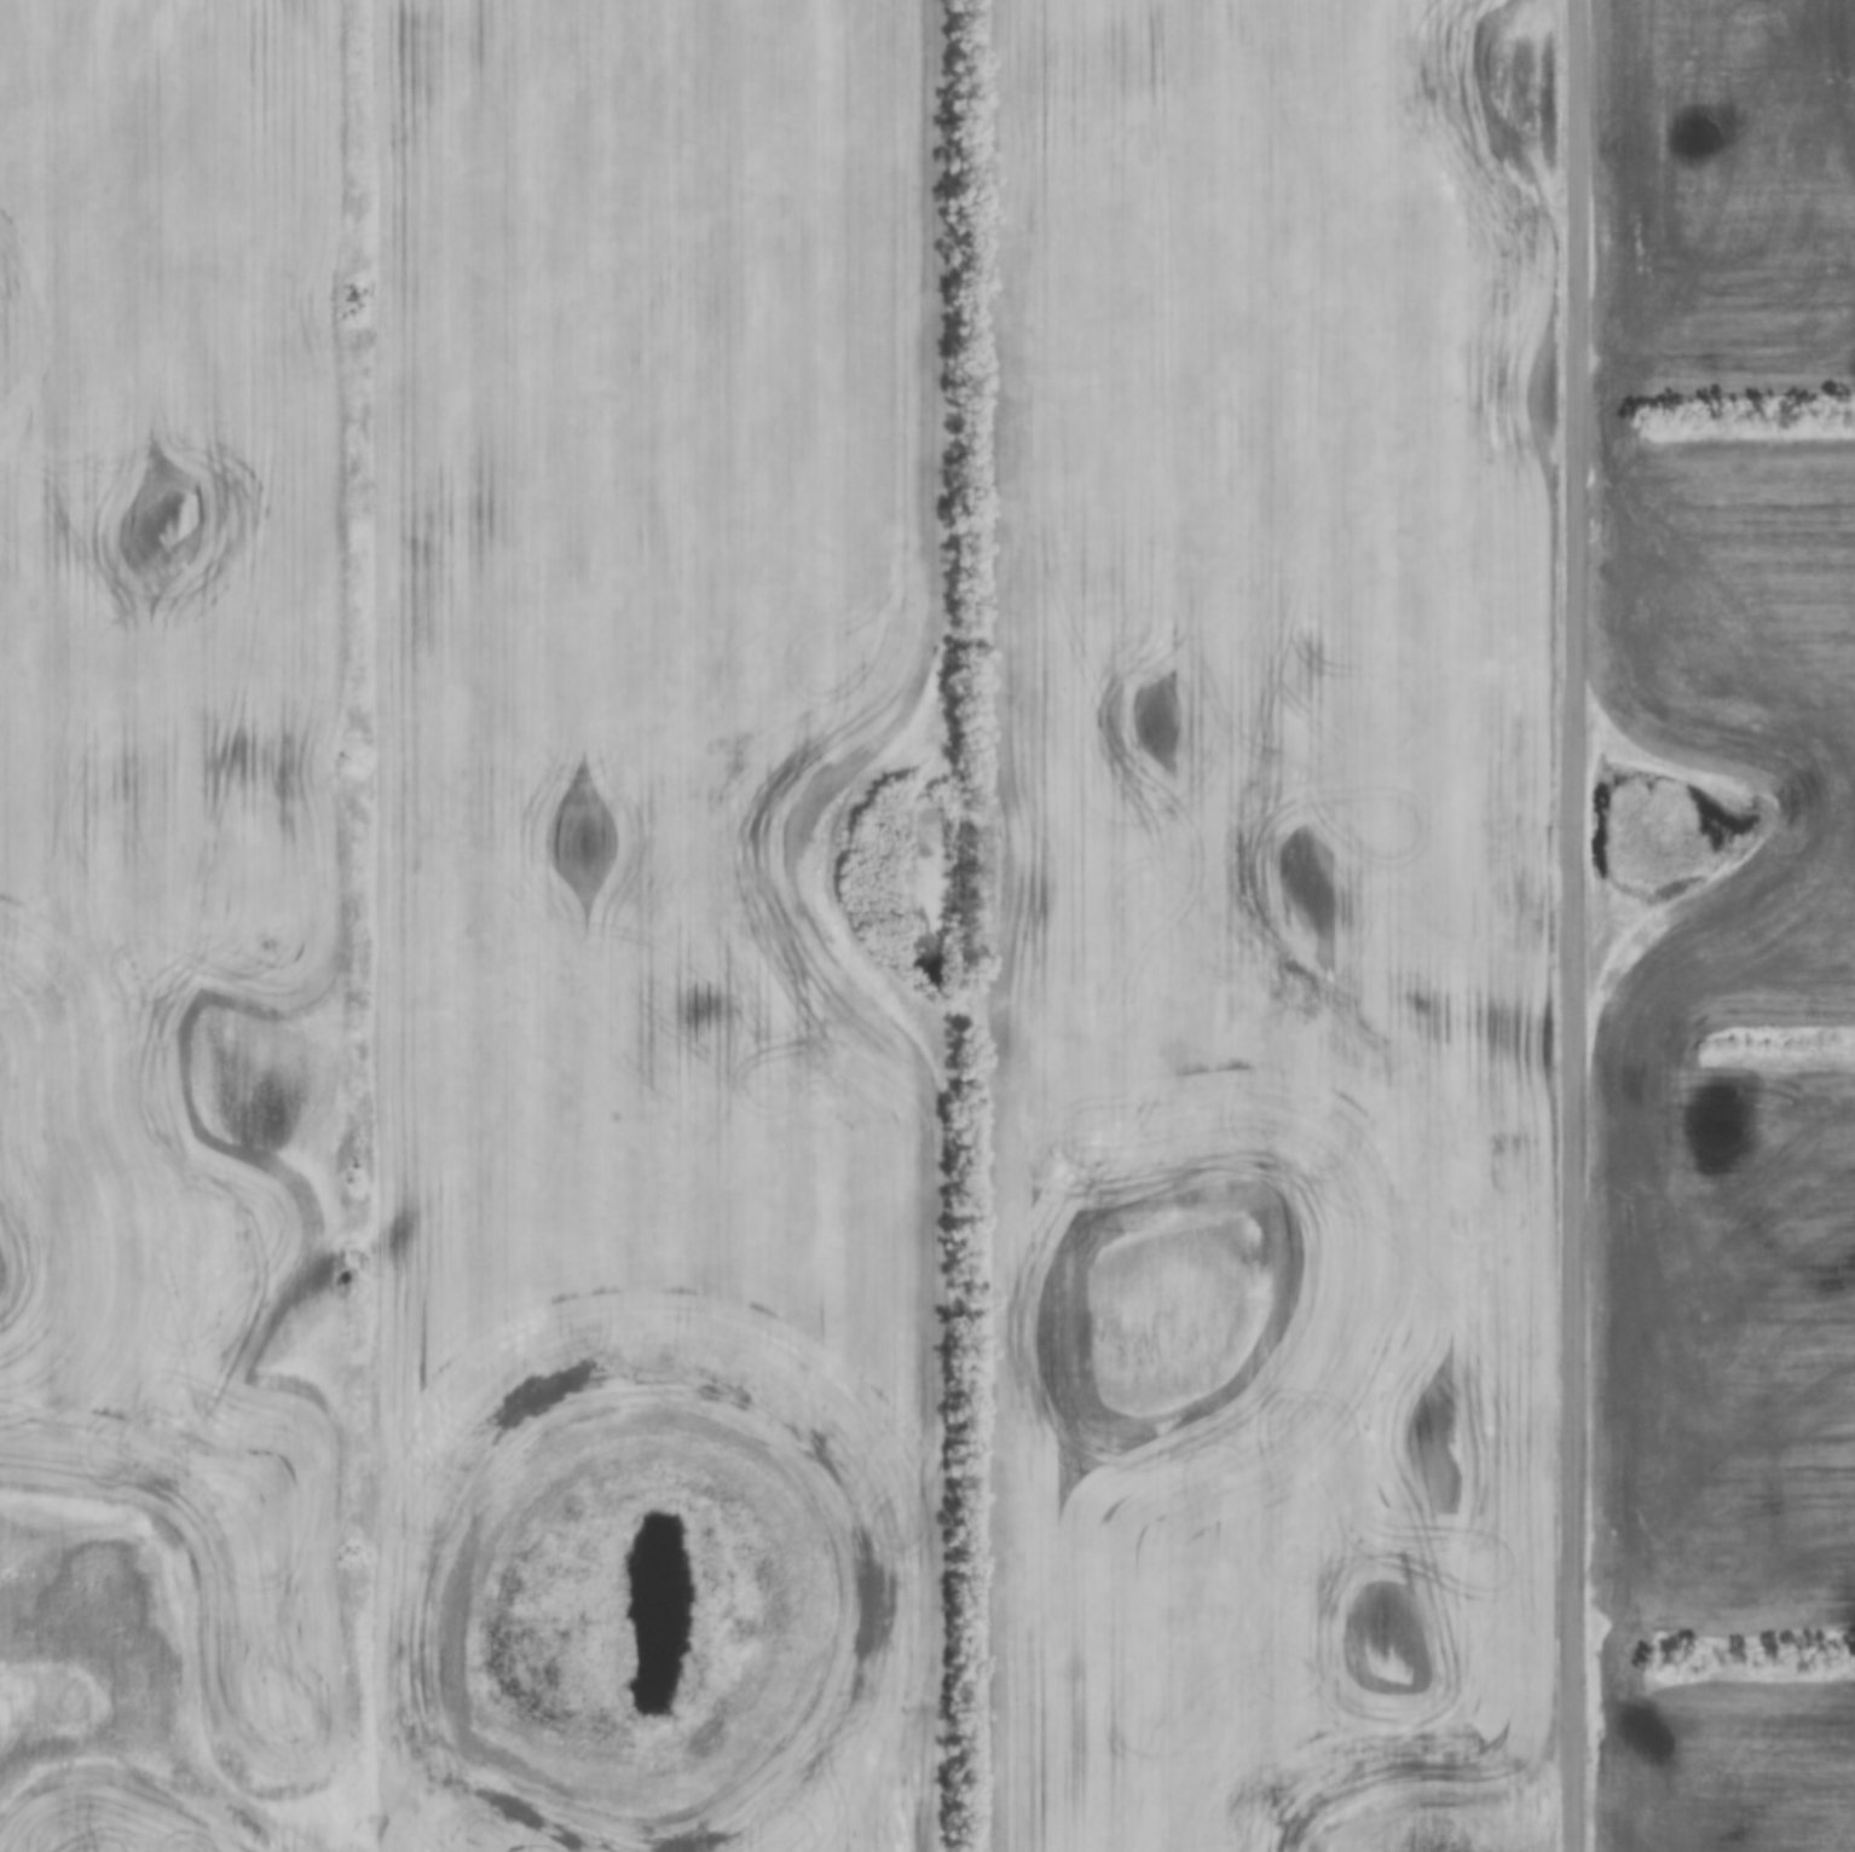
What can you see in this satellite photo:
road: (1573, 925)

